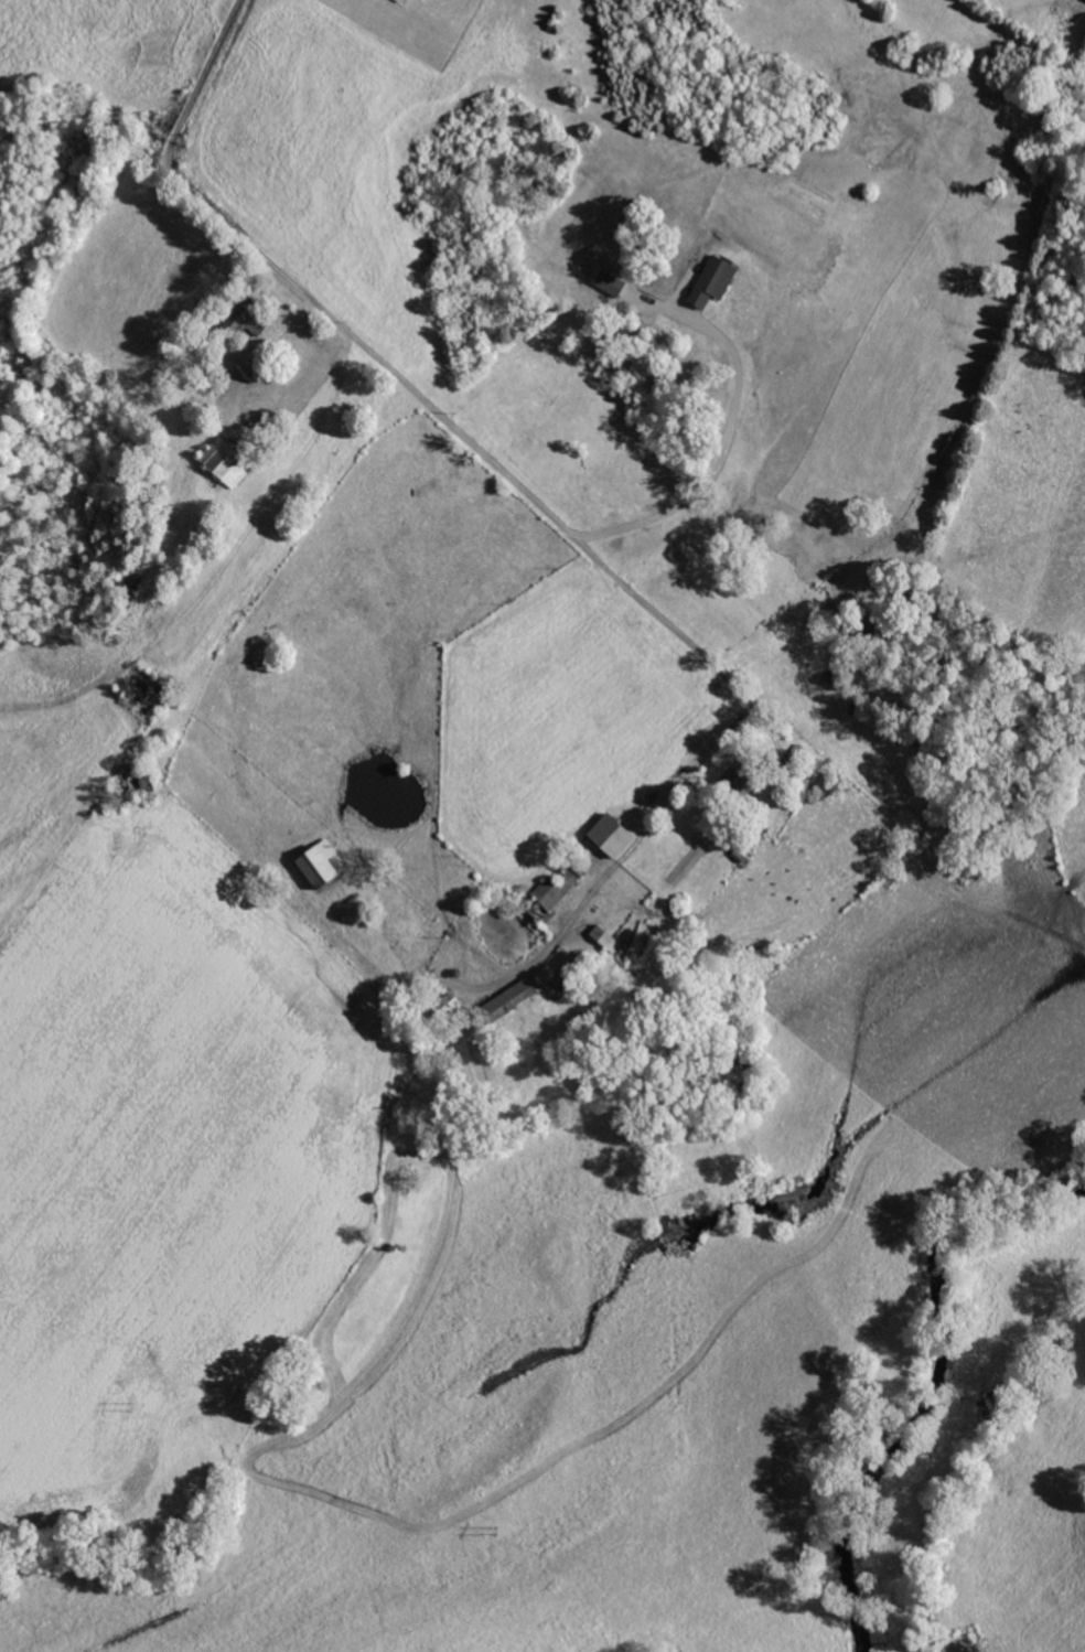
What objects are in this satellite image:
road: (960, 97)
building: (715, 281)
building: (611, 282)
building: (249, 318)
road: (400, 377)
building: (227, 463)
road: (412, 727)
building: (613, 836)
building: (321, 865)
building: (556, 893)
building: (573, 976)
building: (513, 999)
building: (448, 1006)
river: (941, 1381)

